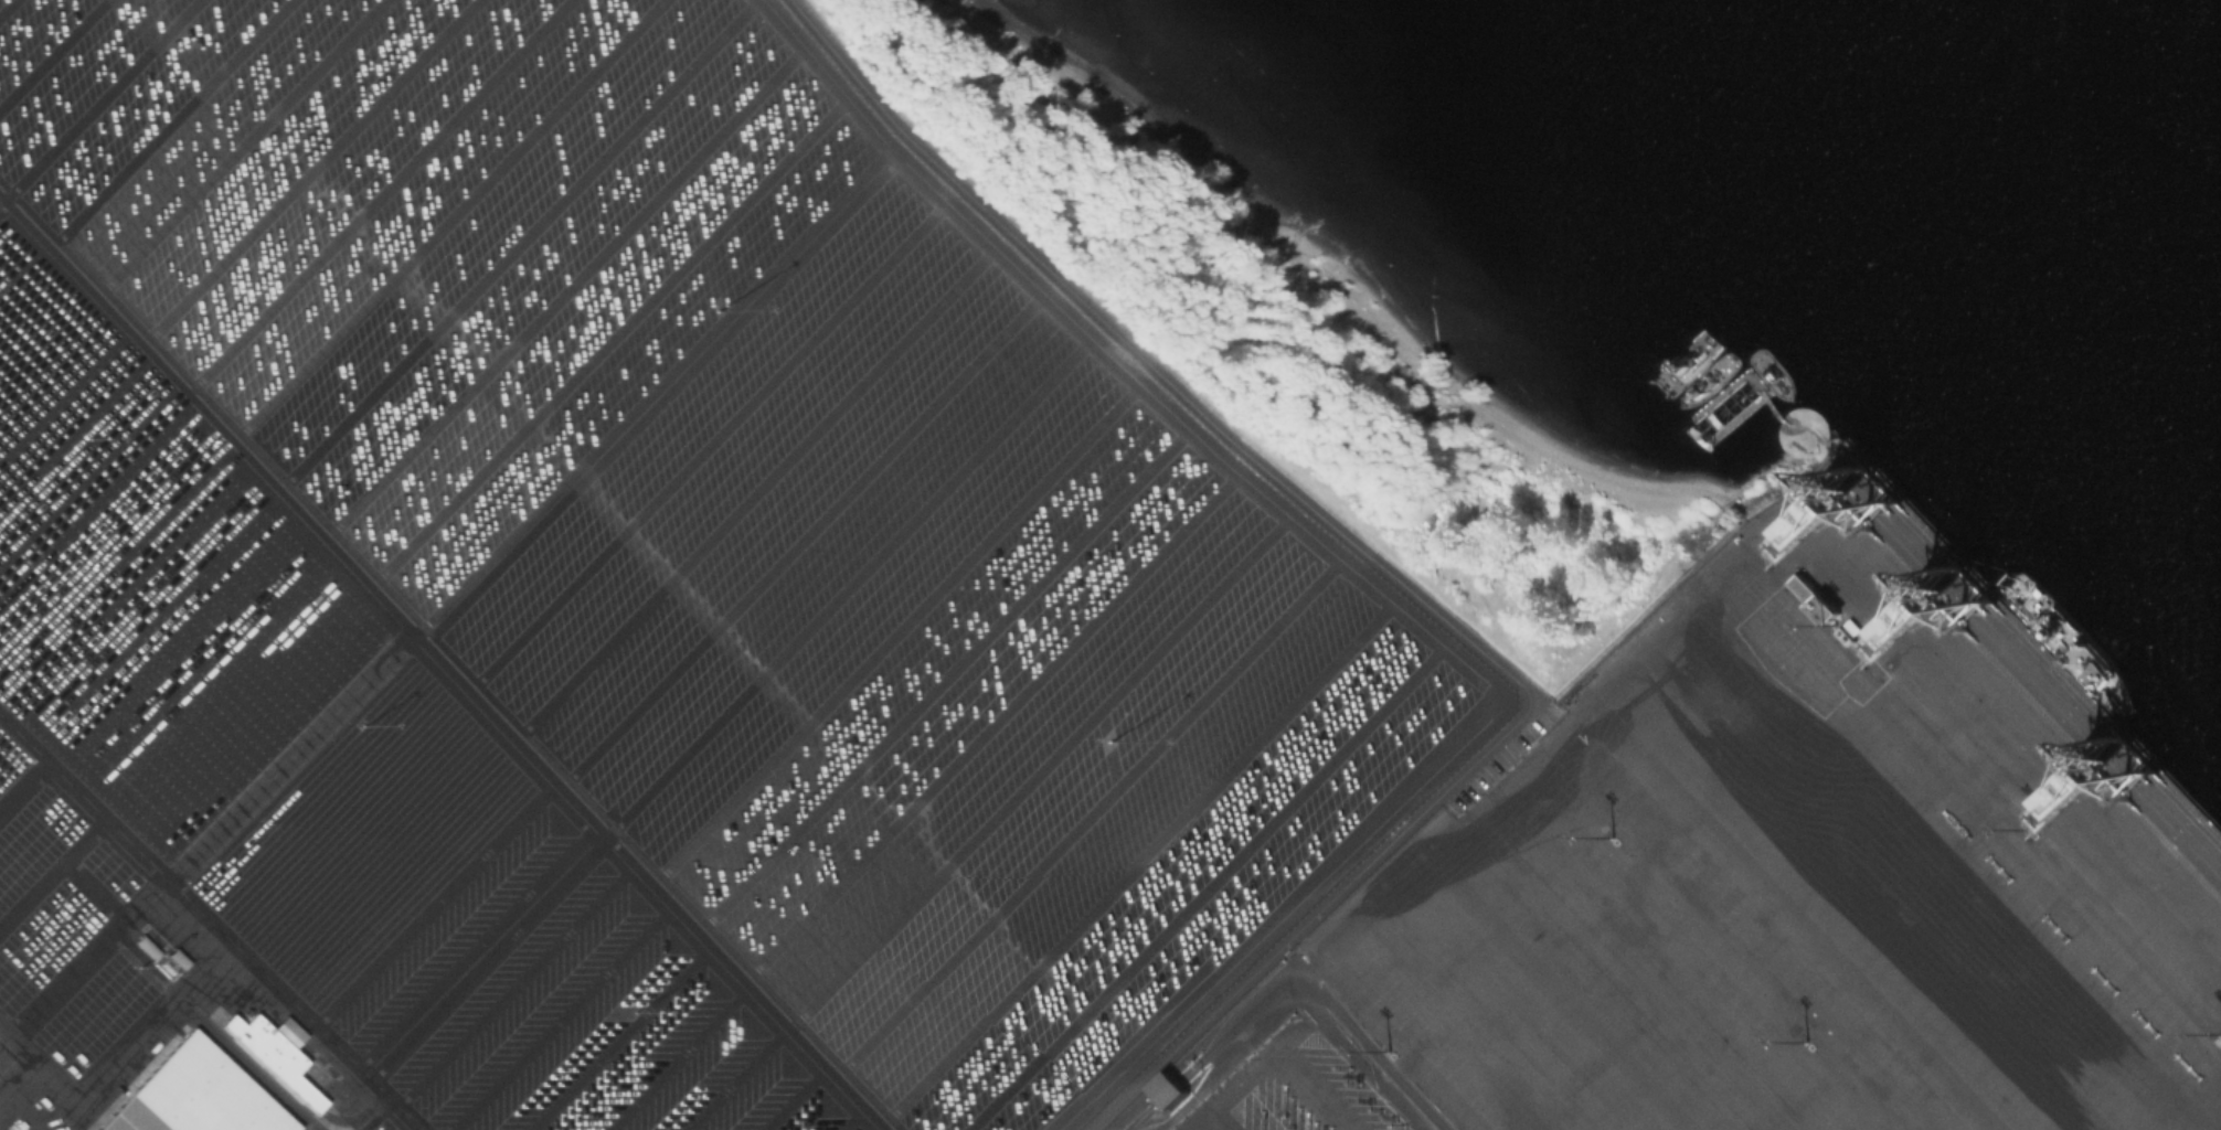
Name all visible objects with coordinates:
road: (6, 6)
road: (52, 53)
road: (103, 98)
road: (171, 121)
road: (242, 147)
road: (312, 171)
road: (381, 194)
road: (451, 218)
road: (518, 243)
road: (565, 288)
road: (613, 339)
road: (660, 388)
road: (711, 440)
road: (759, 490)
road: (805, 536)
road: (1348, 564)
road: (851, 584)
building: (1815, 598)
road: (899, 629)
railway: (2032, 643)
road: (448, 659)
road: (946, 676)
railway: (2018, 686)
road: (995, 723)
road: (25, 735)
road: (1041, 767)
road: (1091, 814)
road: (1137, 859)
road: (53, 868)
road: (1204, 885)
road: (96, 888)
road: (142, 900)
road: (438, 900)
road: (211, 918)
road: (487, 951)
road: (142, 953)
road: (1289, 979)
road: (63, 981)
road: (518, 982)
road: (173, 990)
road: (563, 1013)
road: (621, 1035)
road: (679, 1055)
building: (269, 1058)
road: (247, 1064)
road: (736, 1075)
road: (19, 1084)
building: (1168, 1088)
road: (89, 1089)
road: (796, 1095)
building: (1182, 1106)
road: (857, 1116)
building: (127, 1118)

